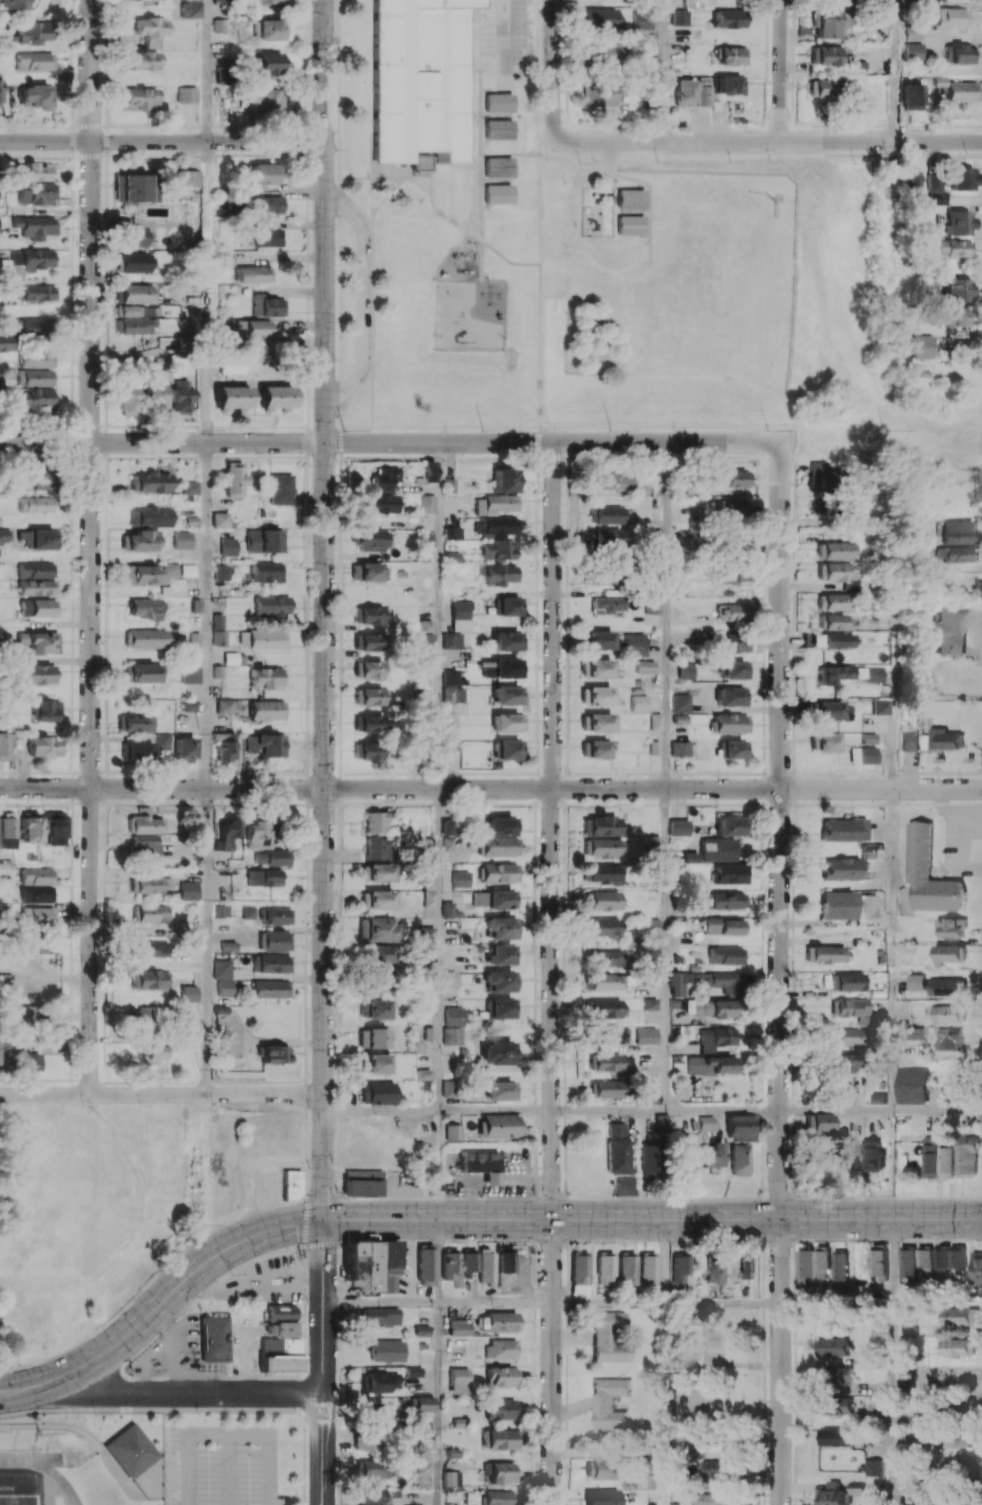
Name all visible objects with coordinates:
building: (198, 0)
building: (264, 1)
building: (221, 2)
building: (881, 3)
building: (14, 4)
building: (190, 9)
building: (681, 17)
building: (600, 18)
building: (947, 18)
building: (727, 19)
building: (876, 19)
building: (644, 20)
building: (830, 23)
building: (268, 29)
building: (151, 30)
road: (505, 32)
building: (32, 33)
building: (909, 33)
parking lot: (506, 34)
building: (909, 51)
building: (653, 52)
building: (600, 53)
building: (956, 54)
building: (824, 55)
building: (732, 56)
building: (142, 60)
building: (34, 61)
building: (268, 63)
road: (484, 65)
road: (554, 69)
road: (208, 70)
road: (666, 70)
road: (781, 70)
road: (505, 73)
road: (893, 73)
building: (418, 81)
building: (728, 84)
building: (827, 88)
building: (960, 91)
building: (685, 92)
building: (187, 94)
building: (704, 94)
building: (599, 95)
building: (36, 96)
building: (910, 96)
building: (137, 98)
building: (266, 99)
building: (497, 101)
building: (0, 103)
building: (497, 130)
road: (162, 141)
road: (770, 141)
building: (497, 167)
building: (30, 172)
building: (265, 174)
building: (187, 178)
building: (963, 178)
building: (933, 181)
building: (909, 183)
building: (130, 187)
building: (36, 193)
building: (497, 194)
building: (937, 198)
building: (631, 199)
building: (269, 204)
building: (959, 223)
building: (35, 226)
building: (631, 227)
building: (132, 237)
building: (269, 237)
building: (955, 247)
building: (631, 253)
building: (226, 259)
building: (31, 260)
building: (134, 262)
building: (255, 274)
building: (960, 290)
road: (208, 291)
building: (38, 293)
building: (137, 293)
park: (704, 295)
road: (361, 297)
parking lot: (363, 299)
building: (268, 306)
building: (136, 311)
building: (957, 316)
building: (37, 325)
building: (135, 325)
building: (258, 328)
building: (6, 342)
building: (922, 346)
building: (36, 359)
building: (231, 364)
building: (35, 377)
building: (180, 396)
building: (232, 396)
building: (156, 397)
building: (273, 397)
building: (35, 399)
building: (127, 400)
road: (162, 442)
road: (552, 442)
building: (429, 471)
building: (822, 473)
building: (383, 477)
building: (736, 478)
building: (233, 479)
building: (34, 480)
building: (502, 480)
building: (150, 481)
building: (610, 481)
building: (190, 487)
building: (279, 490)
building: (379, 503)
building: (37, 504)
building: (427, 504)
building: (494, 504)
building: (733, 509)
building: (606, 515)
building: (150, 516)
building: (0, 519)
building: (220, 520)
building: (498, 526)
building: (957, 532)
building: (5, 536)
building: (23, 536)
building: (652, 537)
building: (683, 537)
building: (44, 538)
building: (183, 539)
building: (604, 539)
building: (143, 540)
building: (266, 540)
building: (370, 540)
road: (91, 547)
building: (228, 547)
building: (497, 550)
building: (833, 551)
building: (955, 554)
building: (452, 557)
building: (2, 567)
building: (36, 569)
building: (189, 569)
building: (221, 571)
building: (366, 571)
building: (266, 572)
building: (149, 573)
building: (836, 573)
building: (498, 574)
building: (730, 574)
building: (37, 587)
building: (832, 602)
building: (652, 605)
building: (272, 606)
building: (510, 606)
building: (38, 607)
building: (144, 608)
building: (611, 609)
road: (324, 610)
building: (729, 612)
road: (207, 615)
building: (367, 615)
road: (439, 615)
building: (461, 615)
road: (666, 615)
building: (834, 622)
building: (951, 631)
building: (146, 638)
building: (219, 638)
building: (262, 639)
building: (452, 640)
building: (598, 640)
building: (835, 640)
building: (508, 641)
building: (40, 642)
building: (368, 642)
building: (733, 643)
building: (634, 644)
building: (645, 666)
building: (504, 668)
building: (596, 668)
building: (733, 669)
building: (369, 670)
building: (685, 670)
building: (143, 673)
building: (38, 674)
building: (191, 674)
building: (832, 674)
building: (872, 675)
building: (267, 677)
building: (451, 677)
building: (453, 694)
building: (508, 695)
building: (368, 696)
building: (597, 696)
building: (731, 696)
building: (639, 702)
building: (681, 703)
building: (190, 705)
building: (226, 705)
building: (881, 706)
building: (47, 710)
building: (267, 710)
building: (828, 710)
road: (894, 711)
building: (655, 721)
building: (508, 722)
building: (596, 722)
building: (134, 723)
building: (372, 723)
building: (730, 723)
building: (448, 731)
building: (162, 739)
building: (944, 739)
building: (910, 740)
building: (825, 742)
building: (266, 744)
building: (4, 746)
building: (42, 746)
building: (225, 747)
building: (680, 748)
building: (185, 749)
building: (509, 749)
building: (597, 749)
building: (733, 749)
building: (366, 750)
building: (138, 751)
building: (863, 755)
road: (162, 788)
road: (653, 789)
building: (379, 821)
building: (144, 822)
building: (500, 826)
building: (598, 826)
building: (731, 826)
building: (52, 827)
building: (448, 827)
building: (679, 827)
building: (6, 828)
building: (28, 828)
building: (845, 829)
road: (552, 830)
road: (780, 831)
building: (225, 833)
building: (255, 835)
building: (447, 843)
building: (654, 843)
building: (427, 844)
building: (499, 846)
building: (603, 846)
building: (143, 847)
building: (376, 848)
building: (718, 849)
building: (268, 857)
building: (691, 857)
building: (841, 868)
building: (376, 872)
building: (499, 872)
building: (603, 873)
building: (731, 873)
building: (929, 873)
building: (37, 876)
building: (261, 878)
building: (460, 879)
building: (146, 884)
building: (429, 889)
building: (186, 890)
building: (37, 894)
building: (375, 899)
building: (493, 899)
building: (603, 900)
building: (728, 900)
building: (838, 905)
building: (448, 909)
building: (221, 910)
building: (152, 913)
building: (267, 915)
building: (39, 917)
building: (602, 926)
building: (724, 926)
building: (951, 926)
building: (500, 928)
building: (377, 929)
building: (274, 940)
building: (427, 940)
road: (206, 941)
building: (228, 946)
building: (151, 948)
road: (666, 949)
road: (892, 949)
road: (439, 950)
building: (950, 953)
building: (379, 954)
building: (501, 954)
building: (824, 954)
building: (726, 955)
building: (608, 958)
building: (274, 963)
building: (223, 976)
building: (449, 978)
building: (148, 979)
building: (501, 981)
building: (849, 981)
building: (377, 982)
building: (724, 982)
building: (918, 982)
building: (680, 984)
building: (949, 986)
building: (270, 989)
building: (189, 993)
building: (650, 1003)
building: (427, 1006)
building: (849, 1007)
building: (502, 1008)
building: (604, 1008)
building: (715, 1008)
building: (375, 1009)
building: (27, 1011)
building: (951, 1013)
building: (454, 1015)
building: (143, 1018)
building: (915, 1032)
building: (429, 1033)
building: (452, 1035)
building: (372, 1037)
building: (606, 1037)
building: (718, 1037)
building: (845, 1037)
building: (950, 1039)
building: (159, 1051)
building: (499, 1052)
building: (273, 1054)
building: (27, 1061)
building: (603, 1062)
building: (845, 1062)
building: (374, 1063)
building: (712, 1065)
building: (423, 1074)
building: (911, 1085)
building: (448, 1089)
building: (602, 1089)
building: (500, 1090)
building: (377, 1092)
road: (160, 1094)
building: (879, 1098)
road: (496, 1110)
road: (609, 1110)
road: (723, 1110)
road: (836, 1110)
road: (937, 1110)
road: (381, 1111)
building: (818, 1122)
building: (706, 1123)
building: (498, 1126)
building: (739, 1127)
building: (615, 1130)
building: (452, 1131)
building: (710, 1154)
building: (873, 1154)
building: (967, 1154)
building: (617, 1156)
building: (938, 1158)
building: (737, 1159)
building: (647, 1163)
building: (482, 1164)
building: (362, 1182)
building: (291, 1184)
building: (625, 1185)
road: (485, 1219)
traffic signals: (323, 1220)
building: (956, 1256)
building: (923, 1258)
building: (940, 1258)
road: (407, 1260)
building: (469, 1260)
road: (665, 1260)
road: (891, 1261)
building: (814, 1262)
building: (879, 1262)
building: (425, 1264)
building: (840, 1264)
building: (906, 1264)
building: (361, 1265)
building: (451, 1265)
building: (504, 1265)
building: (388, 1266)
building: (679, 1266)
building: (747, 1266)
building: (485, 1268)
building: (605, 1268)
building: (626, 1268)
building: (647, 1268)
building: (976, 1268)
building: (714, 1269)
building: (579, 1273)
road: (365, 1301)
road: (423, 1301)
road: (495, 1302)
road: (609, 1302)
road: (722, 1302)
road: (835, 1302)
building: (380, 1316)
building: (961, 1316)
building: (497, 1322)
building: (459, 1327)
building: (422, 1329)
building: (609, 1337)
building: (216, 1338)
building: (280, 1341)
building: (835, 1346)
building: (959, 1347)
building: (500, 1349)
building: (385, 1351)
road: (778, 1361)
road: (323, 1362)
road: (552, 1362)
building: (413, 1371)
building: (839, 1374)
building: (501, 1376)
building: (458, 1380)
building: (377, 1382)
road: (21, 1390)
road: (182, 1394)
building: (610, 1402)
road: (438, 1403)
road: (890, 1404)
building: (421, 1405)
building: (964, 1405)
building: (844, 1406)
park: (699, 1407)
building: (499, 1408)
building: (374, 1413)
road: (208, 1434)
road: (249, 1434)
building: (16, 1435)
building: (837, 1436)
building: (959, 1437)
building: (500, 1439)
building: (370, 1440)
building: (131, 1452)
road: (608, 1454)
track: (42, 1466)
parking lot: (224, 1466)
building: (424, 1466)
building: (874, 1467)
building: (373, 1468)
building: (957, 1468)
road: (188, 1469)
road: (228, 1469)
building: (604, 1469)
road: (270, 1470)
building: (501, 1472)
building: (719, 1474)
building: (451, 1478)
building: (912, 1478)
road: (664, 1480)
building: (831, 1494)
building: (371, 1496)
building: (498, 1497)
building: (602, 1497)
building: (715, 1498)
park: (17, 1499)

